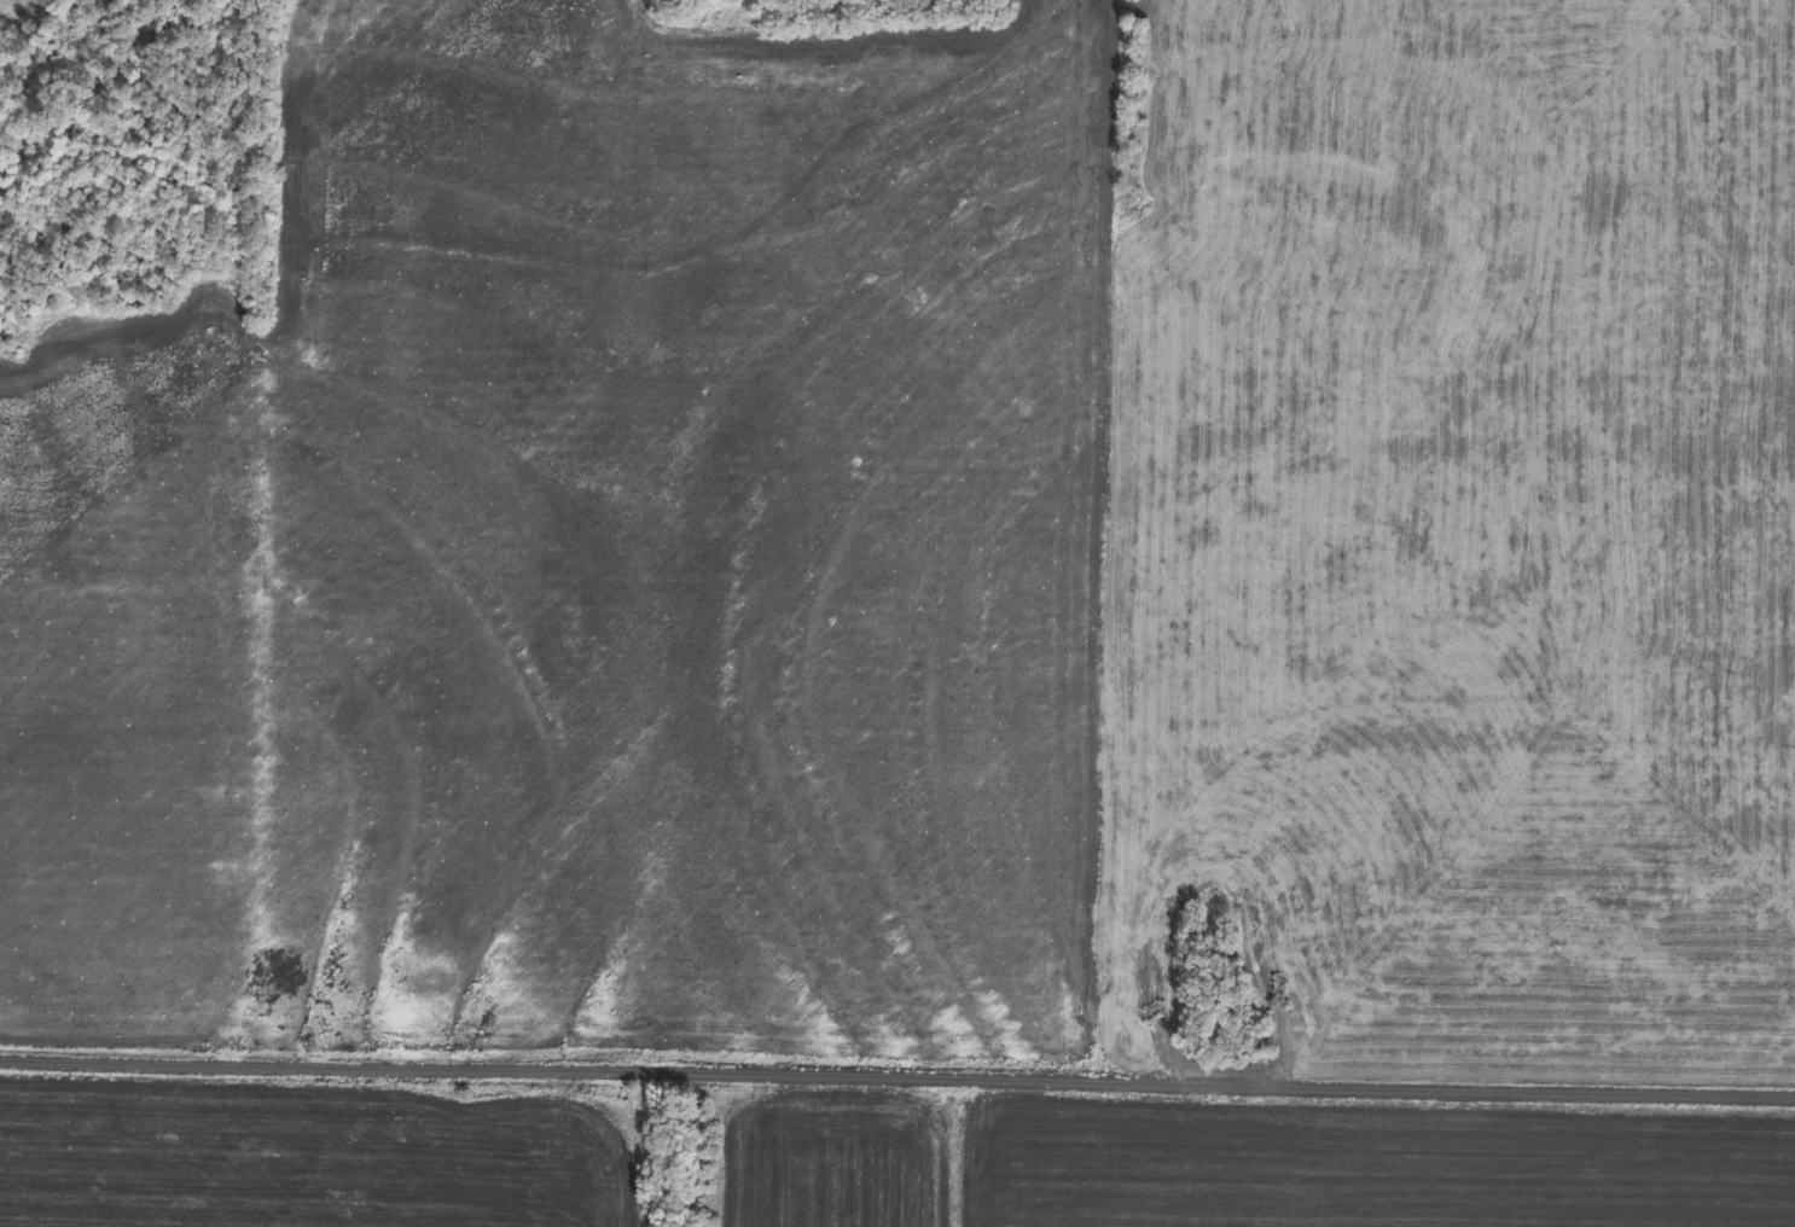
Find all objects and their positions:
road: (898, 1071)
road: (929, 1150)

